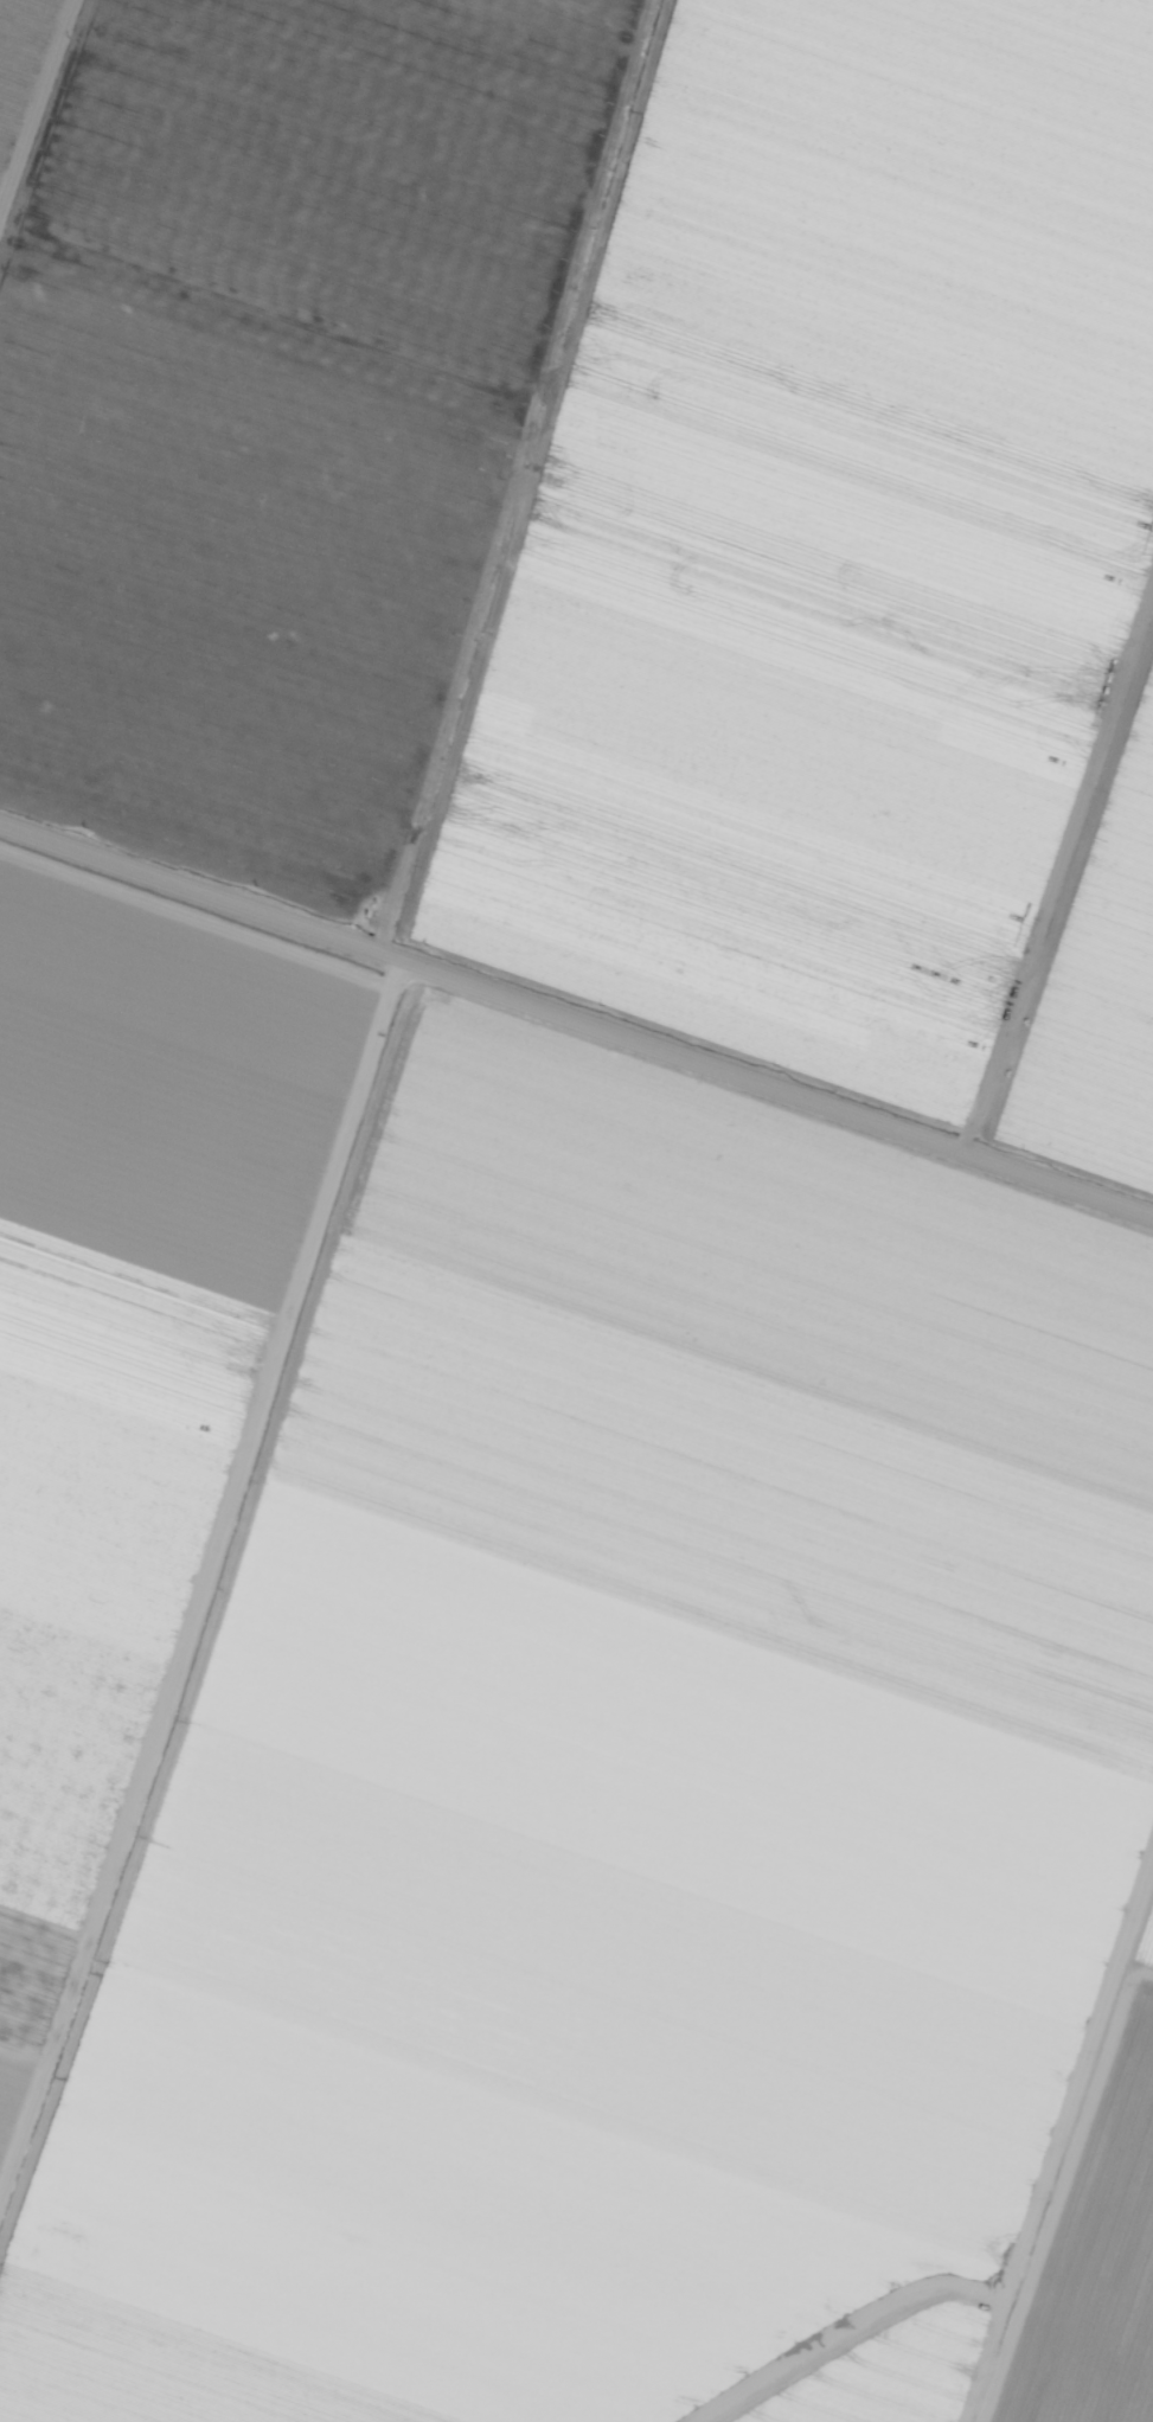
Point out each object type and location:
crop: (21, 63)
crop: (273, 410)
crop: (821, 543)
crop: (1096, 995)
road: (575, 1033)
crop: (128, 1338)
road: (204, 1577)
crop: (613, 1775)
crop: (1144, 1939)
crop: (1093, 2254)
crop: (892, 2372)

